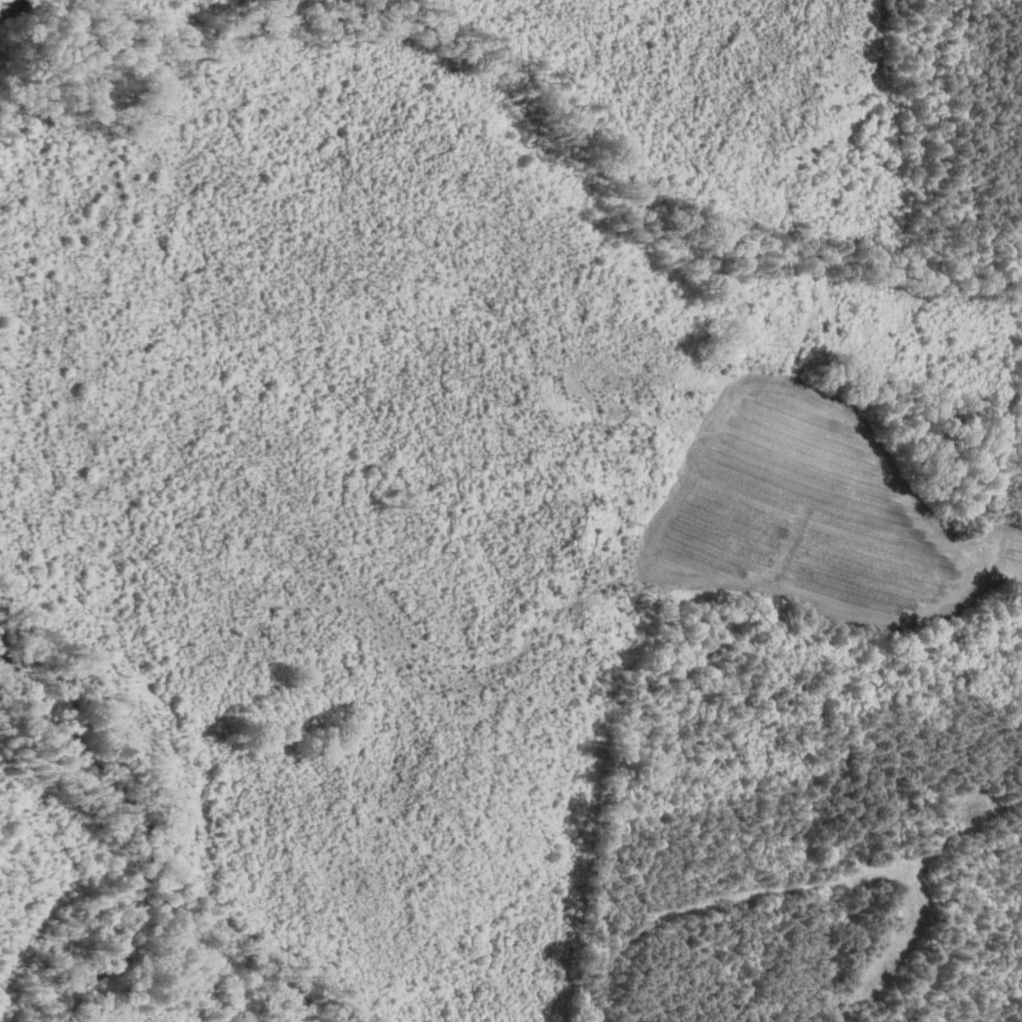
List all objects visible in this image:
road: (828, 865)

